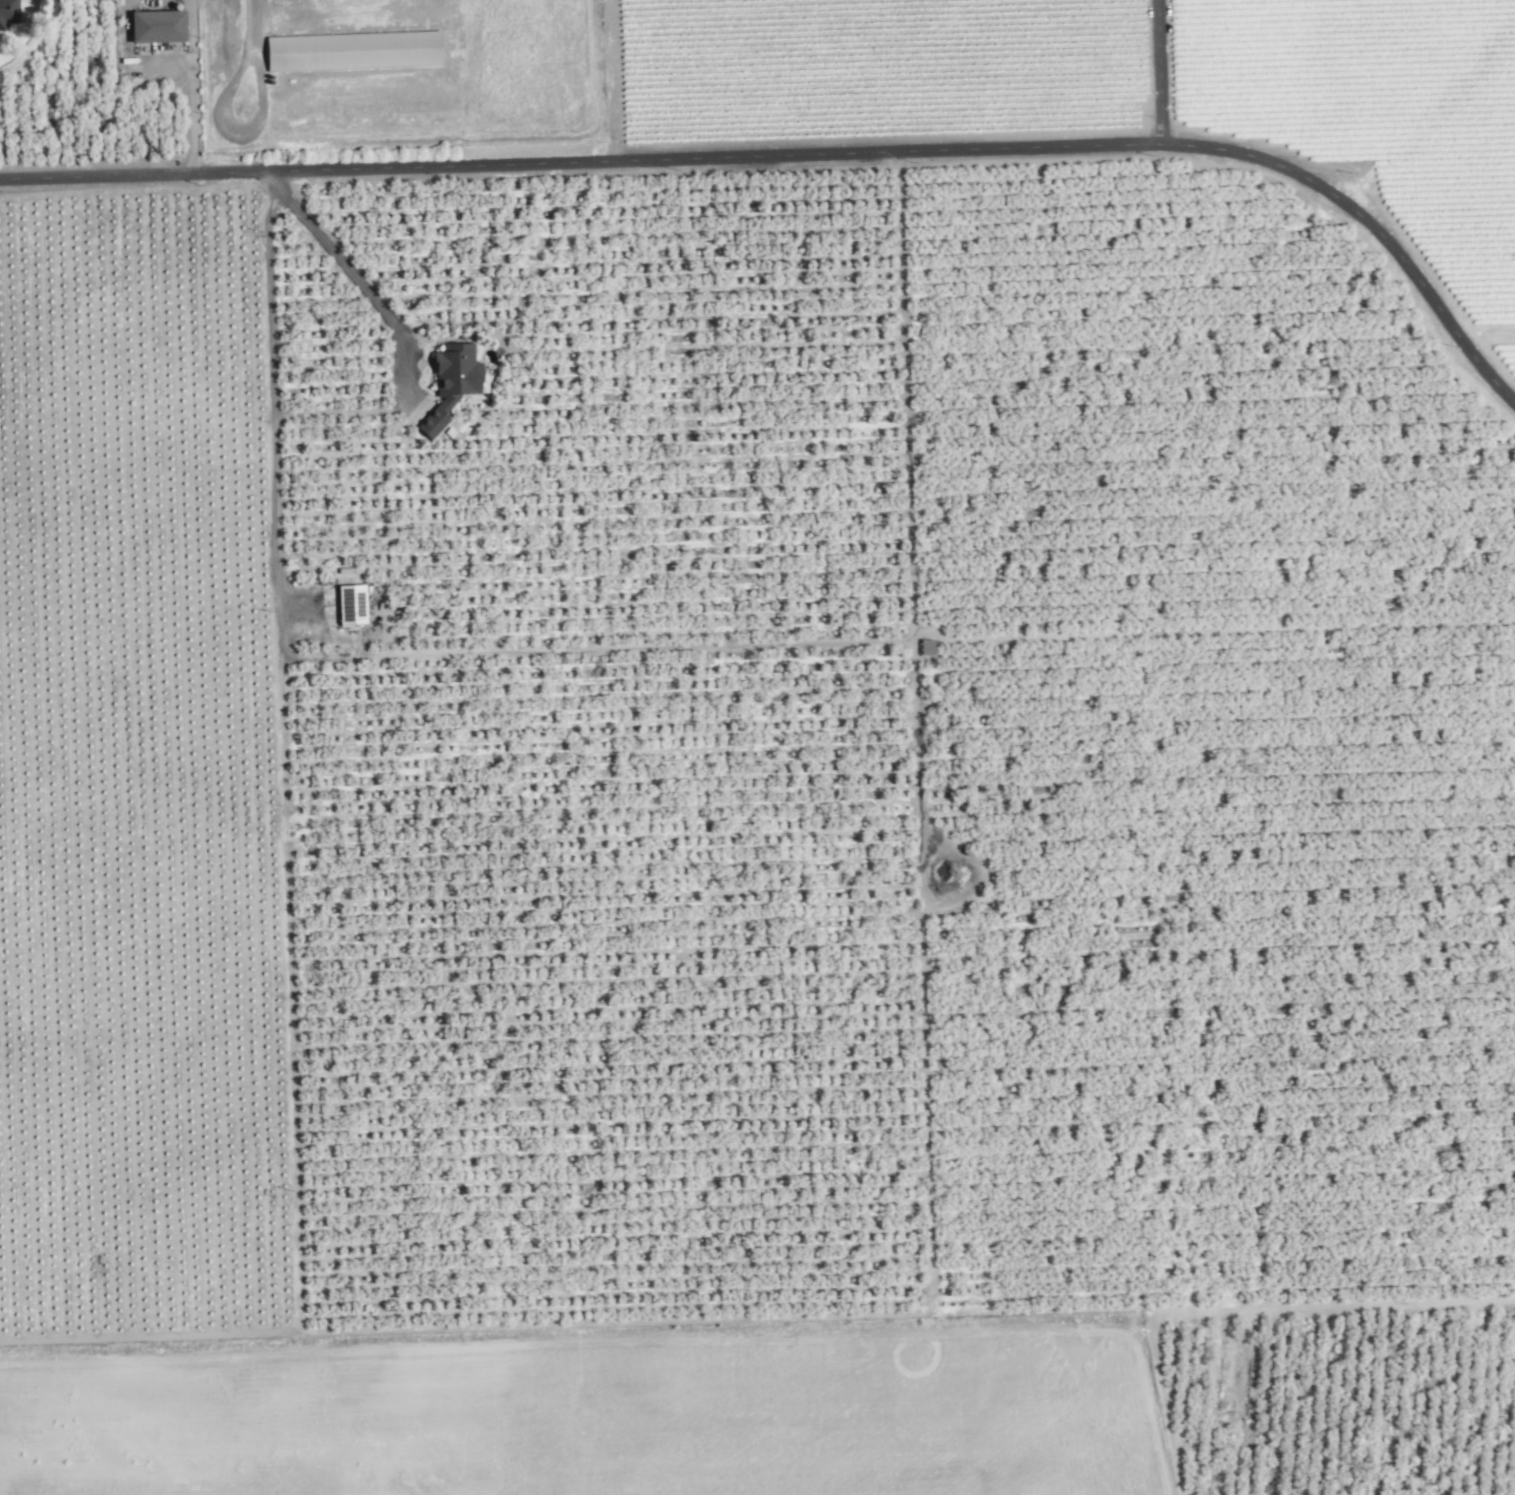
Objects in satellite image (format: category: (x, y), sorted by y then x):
building: (8, 13)
road: (247, 24)
building: (160, 26)
building: (354, 50)
road: (1153, 72)
road: (234, 131)
road: (811, 153)
road: (351, 274)
building: (455, 383)
road: (272, 394)
building: (356, 605)
crop: (771, 771)

